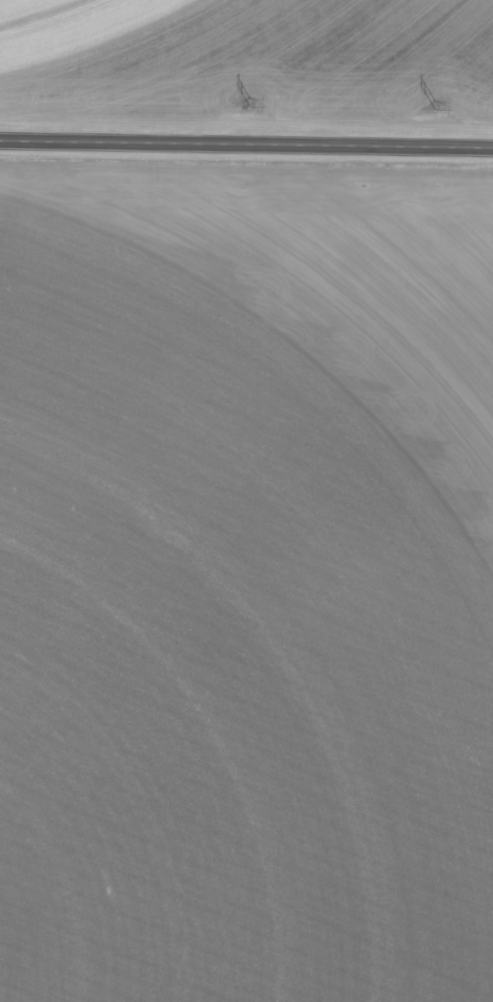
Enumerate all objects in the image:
road: (246, 150)

